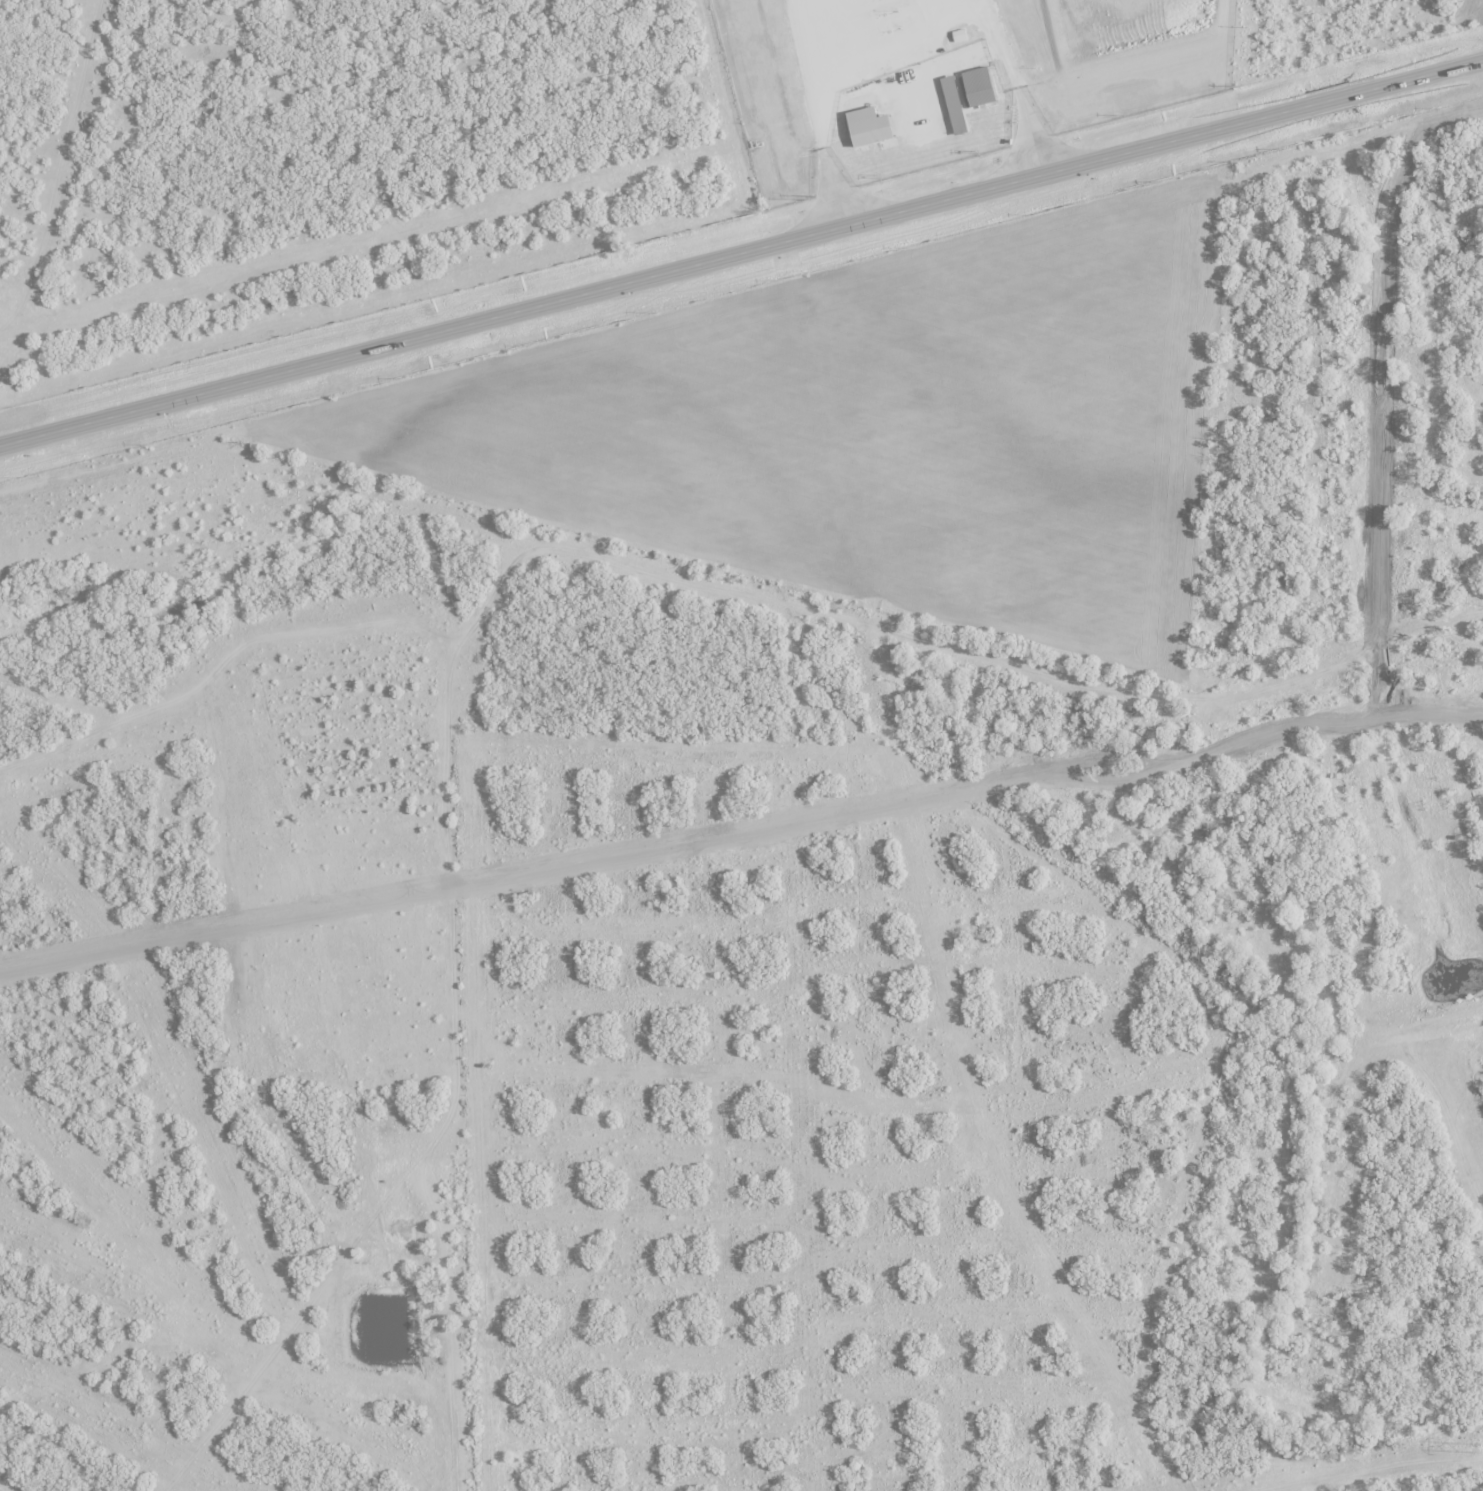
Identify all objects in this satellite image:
building: (975, 87)
road: (741, 252)
power tower: (1478, 1450)

